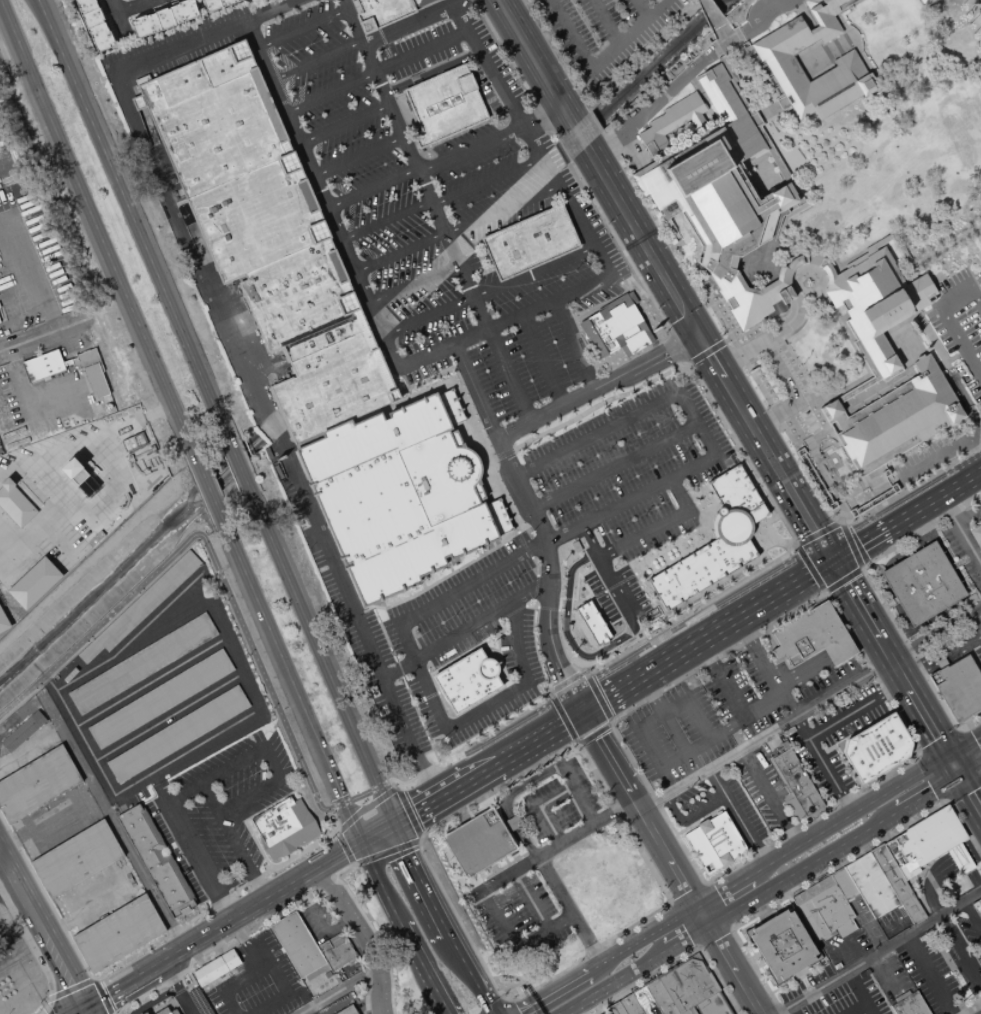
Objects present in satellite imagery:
building: (123, 0)
road: (922, 1)
building: (925, 2)
building: (213, 3)
building: (419, 3)
road: (133, 6)
road: (638, 8)
building: (379, 12)
road: (710, 13)
road: (118, 17)
building: (163, 19)
road: (354, 19)
road: (605, 20)
road: (833, 22)
building: (93, 25)
road: (301, 27)
parking lot: (608, 36)
road: (421, 47)
road: (370, 53)
road: (599, 55)
road: (315, 59)
building: (778, 61)
road: (432, 70)
road: (680, 75)
road: (328, 88)
building: (442, 105)
road: (397, 117)
road: (542, 117)
building: (673, 121)
road: (343, 122)
park: (879, 124)
road: (472, 148)
building: (650, 150)
road: (356, 153)
road: (596, 167)
road: (547, 169)
road: (784, 170)
road: (371, 187)
parking lot: (410, 190)
road: (438, 196)
building: (722, 204)
road: (128, 209)
road: (95, 226)
road: (452, 226)
road: (448, 231)
road: (978, 233)
building: (264, 235)
building: (530, 244)
road: (27, 264)
road: (918, 264)
road: (534, 272)
road: (413, 282)
road: (639, 293)
building: (874, 304)
road: (940, 309)
road: (427, 316)
building: (0, 322)
building: (619, 326)
road: (723, 326)
road: (44, 333)
road: (574, 344)
road: (433, 348)
road: (235, 350)
road: (705, 351)
road: (542, 359)
building: (87, 360)
road: (503, 360)
building: (44, 366)
road: (779, 369)
road: (696, 376)
building: (97, 381)
road: (598, 389)
road: (22, 404)
building: (894, 418)
road: (974, 421)
road: (86, 439)
building: (133, 443)
road: (930, 454)
road: (236, 458)
road: (614, 465)
road: (773, 466)
building: (82, 479)
road: (207, 485)
building: (401, 500)
road: (937, 500)
building: (16, 504)
road: (967, 513)
road: (919, 529)
road: (960, 532)
road: (818, 533)
building: (976, 535)
building: (713, 541)
parking lot: (569, 543)
road: (849, 543)
road: (863, 545)
road: (17, 546)
road: (795, 546)
road: (926, 550)
road: (929, 557)
road: (964, 559)
traffic signals: (832, 564)
road: (952, 565)
road: (811, 570)
road: (842, 581)
building: (922, 583)
building: (34, 585)
road: (223, 585)
road: (872, 587)
road: (892, 601)
road: (441, 602)
building: (142, 605)
road: (887, 605)
road: (711, 606)
road: (911, 616)
building: (4, 621)
building: (592, 623)
road: (867, 623)
road: (976, 625)
road: (461, 627)
road: (597, 630)
road: (858, 631)
road: (894, 633)
building: (811, 636)
road: (861, 637)
road: (707, 638)
road: (864, 642)
road: (835, 645)
road: (839, 651)
road: (750, 654)
road: (842, 656)
road: (321, 658)
road: (941, 659)
building: (942, 659)
building: (142, 663)
road: (784, 665)
road: (758, 667)
road: (798, 667)
road: (775, 673)
road: (802, 673)
building: (465, 679)
road: (805, 679)
road: (290, 681)
road: (147, 683)
road: (565, 686)
building: (958, 687)
road: (601, 694)
road: (732, 697)
building: (159, 700)
road: (762, 704)
road: (855, 711)
road: (811, 712)
traffic signals: (583, 713)
parking lot: (705, 716)
road: (794, 717)
road: (165, 718)
road: (574, 718)
road: (925, 720)
road: (558, 722)
road: (968, 725)
road: (671, 726)
building: (23, 731)
road: (78, 731)
road: (493, 731)
building: (175, 734)
road: (545, 734)
road: (594, 735)
road: (707, 737)
traffic signals: (935, 738)
road: (936, 741)
traffic signals: (974, 742)
road: (577, 746)
building: (875, 747)
road: (971, 747)
road: (964, 748)
road: (30, 750)
road: (911, 759)
traffic signals: (947, 759)
road: (951, 766)
road: (968, 766)
road: (219, 770)
traffic signals: (956, 774)
road: (419, 775)
road: (928, 777)
road: (456, 781)
building: (796, 782)
building: (37, 784)
road: (626, 786)
traffic signals: (929, 790)
road: (964, 791)
road: (925, 792)
road: (577, 794)
road: (967, 794)
traffic signals: (967, 794)
road: (106, 796)
road: (771, 798)
road: (505, 800)
road: (532, 806)
road: (365, 808)
road: (409, 808)
road: (562, 814)
road: (689, 814)
parking lot: (222, 815)
road: (847, 816)
road: (739, 817)
road: (112, 820)
traffic signals: (390, 821)
building: (510, 823)
road: (49, 826)
building: (282, 826)
road: (374, 831)
building: (924, 841)
traffic signals: (359, 842)
building: (713, 842)
road: (188, 843)
building: (475, 843)
road: (257, 847)
road: (344, 848)
road: (552, 848)
road: (388, 854)
building: (77, 858)
building: (959, 859)
road: (324, 860)
building: (156, 861)
road: (801, 867)
road: (936, 867)
road: (5, 869)
road: (308, 870)
road: (824, 874)
road: (417, 878)
road: (295, 879)
road: (5, 880)
road: (323, 880)
road: (378, 883)
road: (683, 883)
road: (931, 883)
building: (843, 884)
building: (896, 884)
building: (870, 885)
road: (316, 887)
road: (723, 890)
road: (688, 892)
road: (89, 900)
road: (529, 900)
road: (669, 901)
road: (717, 904)
building: (977, 907)
building: (823, 909)
road: (569, 911)
road: (270, 912)
road: (702, 914)
road: (971, 915)
road: (316, 918)
road: (346, 918)
road: (684, 924)
road: (979, 924)
road: (369, 926)
road: (40, 932)
building: (119, 933)
road: (203, 936)
road: (681, 937)
road: (714, 937)
road: (514, 940)
road: (642, 940)
road: (246, 942)
building: (295, 944)
building: (780, 944)
road: (30, 946)
road: (721, 946)
road: (411, 949)
road: (960, 949)
building: (335, 951)
road: (876, 951)
road: (142, 952)
road: (163, 960)
road: (674, 961)
road: (265, 964)
building: (216, 968)
road: (17, 973)
road: (468, 974)
building: (679, 974)
road: (930, 974)
road: (881, 976)
building: (317, 980)
road: (92, 981)
road: (606, 983)
road: (185, 985)
building: (688, 987)
road: (118, 989)
road: (69, 991)
road: (336, 991)
road: (378, 991)
road: (748, 992)
road: (858, 992)
road: (436, 993)
road: (554, 994)
road: (100, 996)
building: (659, 997)
building: (693, 997)
road: (76, 999)
building: (644, 1001)
building: (709, 1003)
parking lot: (162, 1004)
road: (487, 1004)
road: (177, 1005)
road: (510, 1005)
building: (629, 1005)
building: (909, 1005)
road: (51, 1007)
building: (617, 1007)
road: (970, 1007)
road: (853, 1008)
building: (609, 1009)
road: (792, 1009)
road: (108, 1010)
building: (345, 1010)
building: (721, 1010)
traffic signals: (83, 1011)
building: (687, 1011)
road: (80, 1012)
road: (83, 1012)
road: (105, 1012)
building: (603, 1012)
road: (197, 1013)

